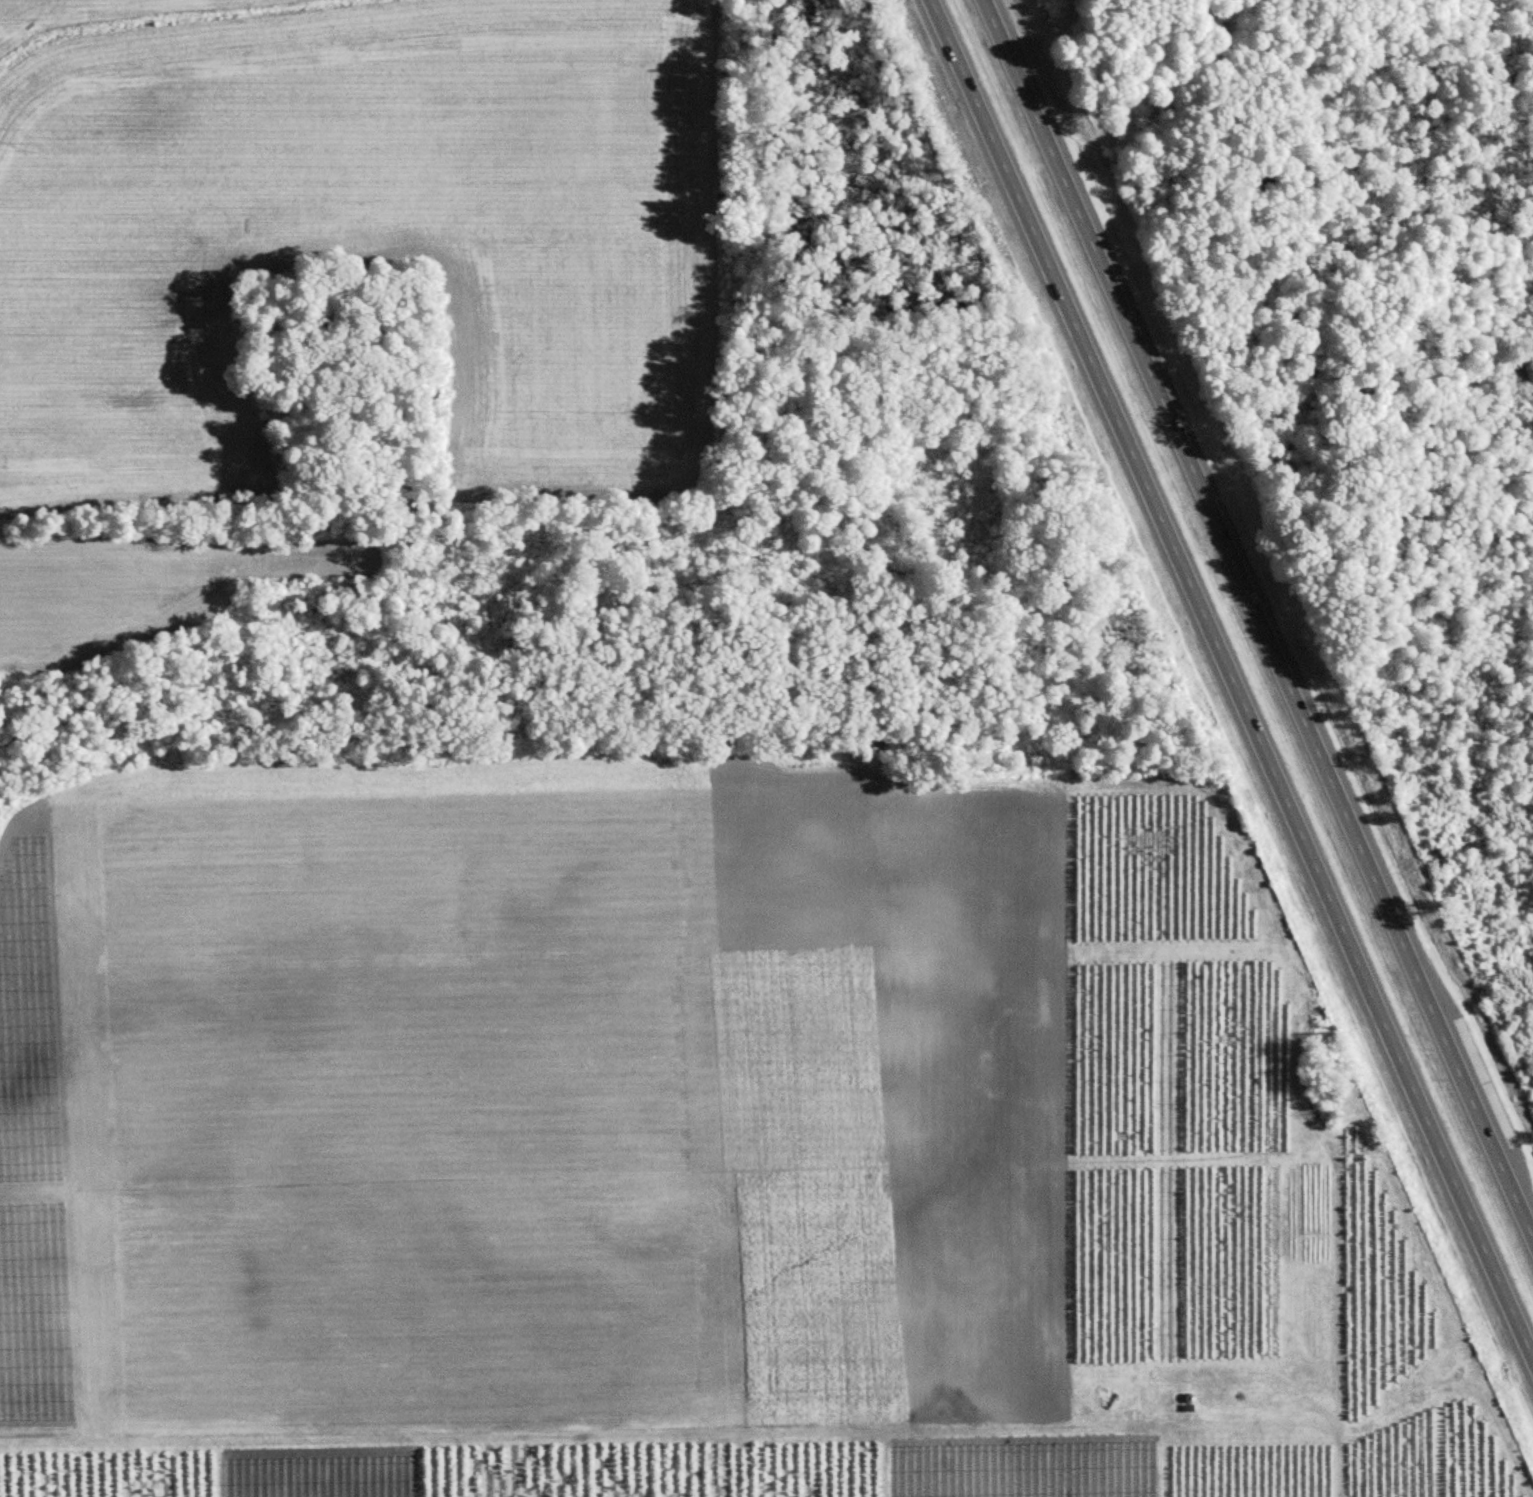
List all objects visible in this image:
road: (1257, 621)
road: (1231, 680)

